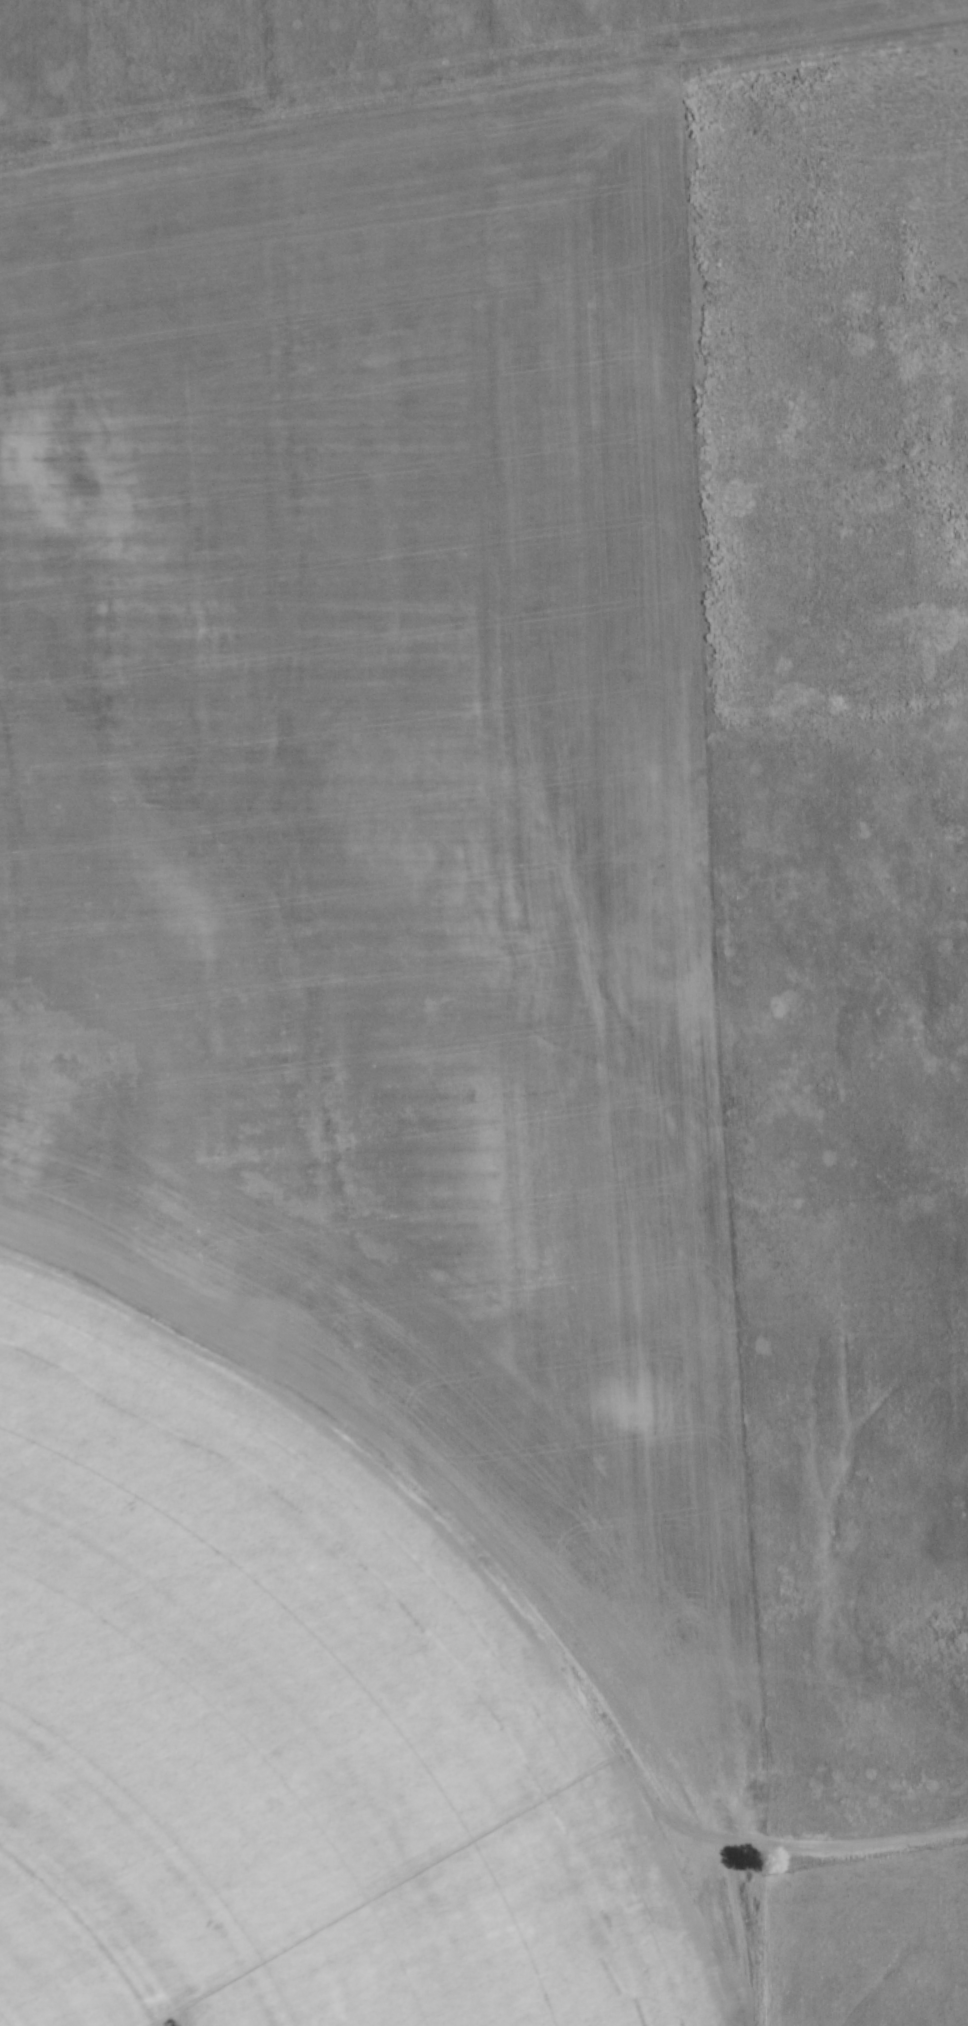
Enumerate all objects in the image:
road: (483, 89)

